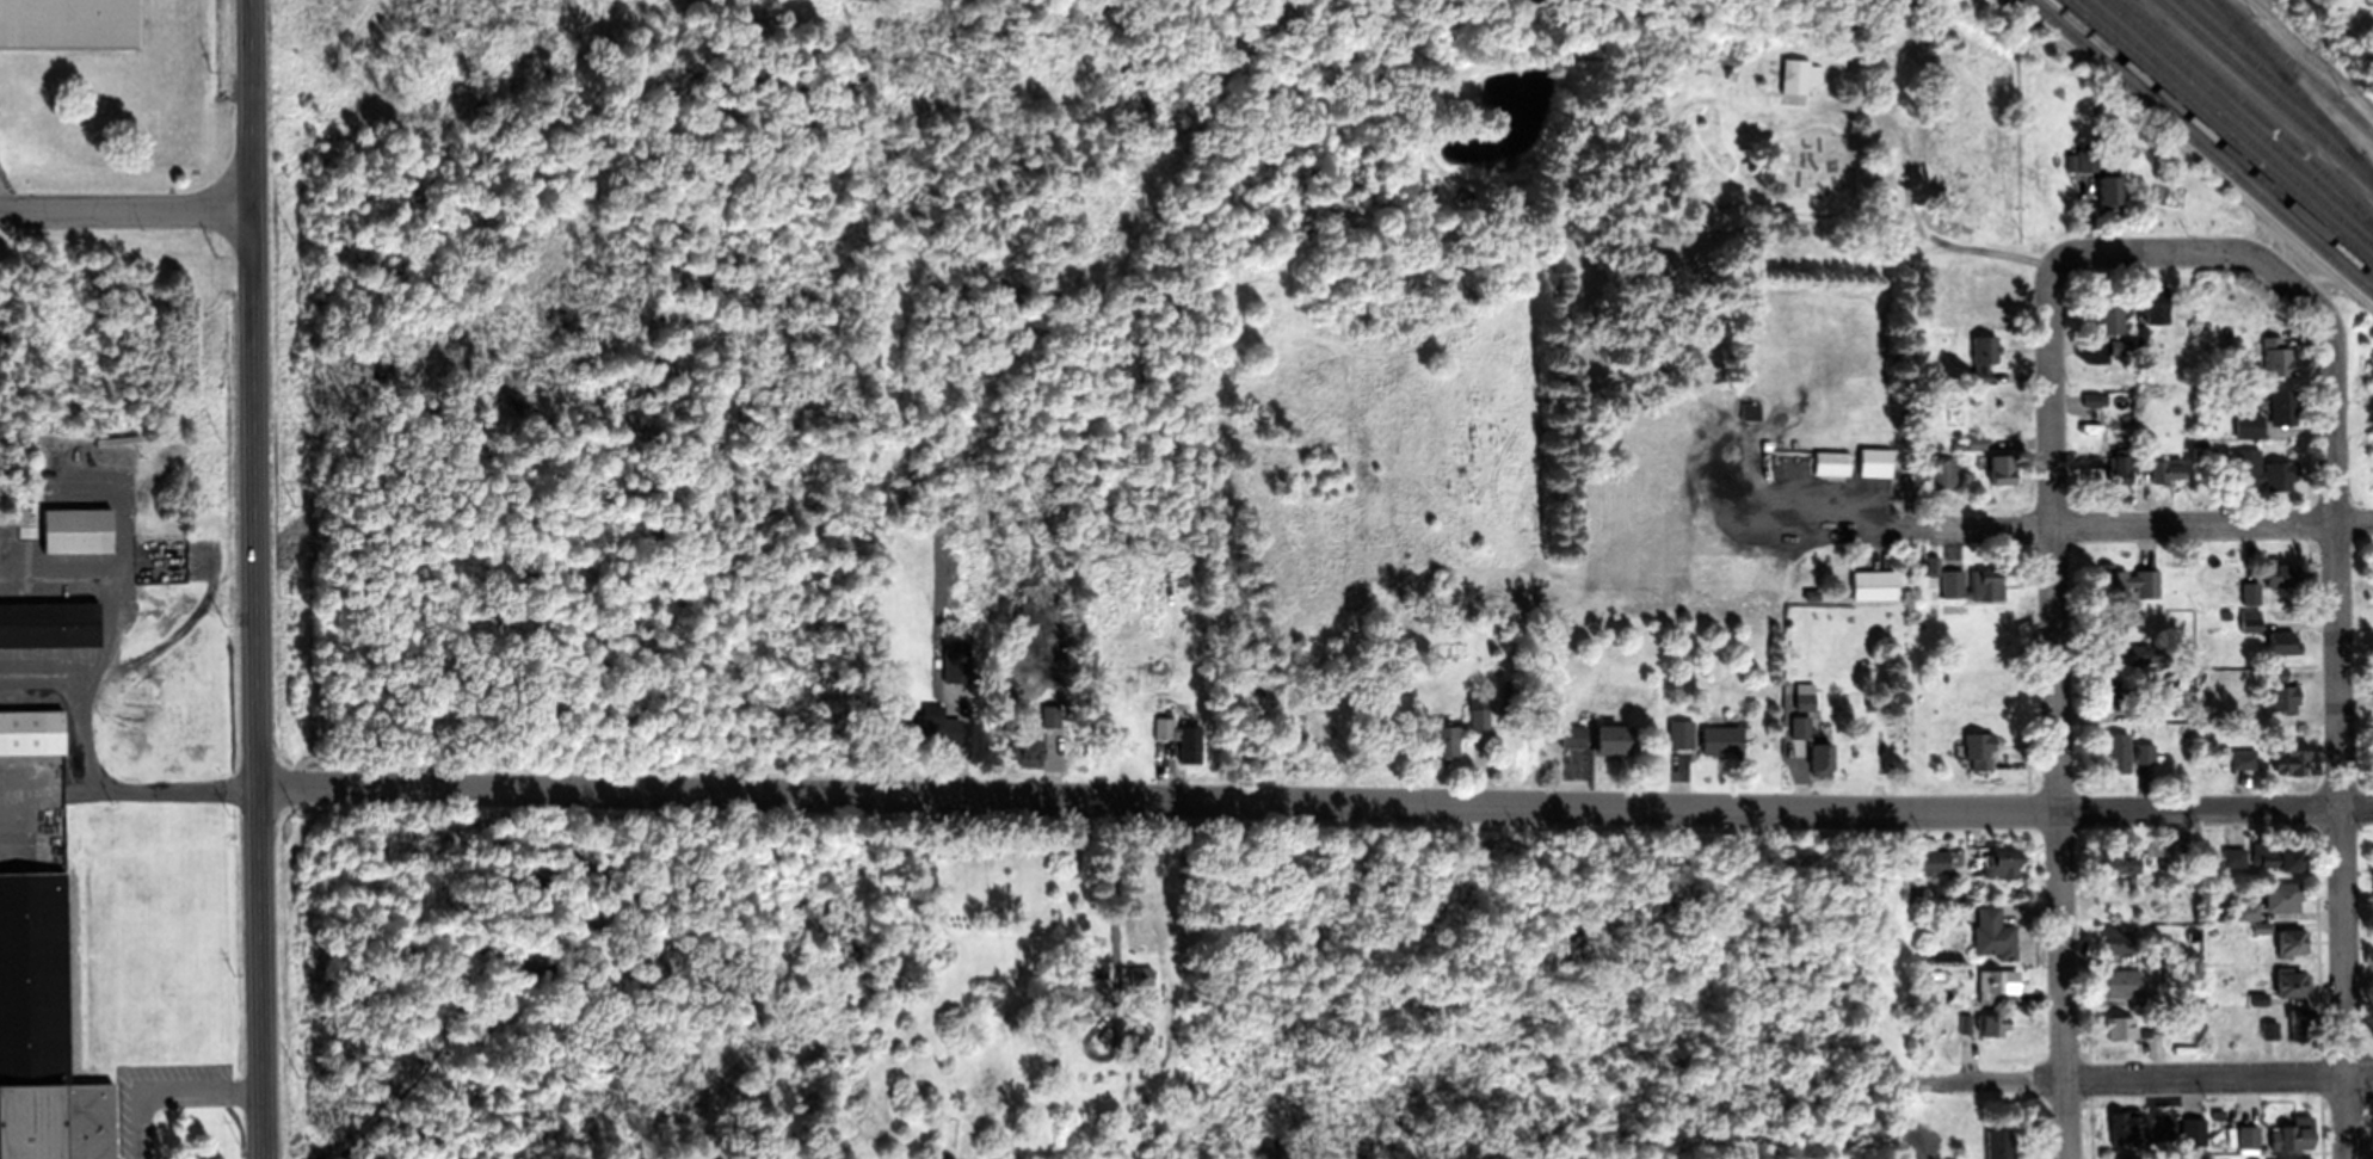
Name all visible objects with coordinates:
building: (68, 23)
railway: (2244, 37)
railway: (2297, 64)
railway: (2269, 75)
building: (1796, 76)
railway: (2294, 85)
railway: (2266, 91)
road: (2258, 99)
railway: (2250, 107)
railway: (2239, 113)
railway: (2230, 121)
railway: (2220, 129)
railway: (2209, 138)
railway: (2201, 146)
building: (2088, 161)
building: (2107, 191)
road: (121, 199)
road: (2149, 251)
building: (2155, 304)
building: (2109, 313)
building: (2140, 335)
building: (2120, 347)
building: (1981, 357)
building: (2275, 357)
building: (2092, 399)
building: (2282, 408)
building: (1748, 411)
building: (2249, 426)
building: (1974, 444)
building: (127, 456)
building: (1830, 463)
building: (1873, 463)
building: (2119, 466)
building: (1998, 470)
building: (2163, 470)
building: (1941, 471)
building: (2266, 473)
road: (2149, 525)
building: (76, 529)
building: (1931, 566)
building: (954, 567)
building: (2276, 575)
road: (253, 579)
building: (1183, 579)
building: (949, 580)
building: (2125, 581)
building: (1872, 586)
building: (1971, 586)
building: (2249, 592)
building: (2249, 619)
building: (49, 623)
building: (2108, 633)
building: (2282, 642)
building: (2143, 653)
building: (955, 667)
building: (2275, 673)
road: (2340, 688)
building: (2109, 691)
building: (2280, 697)
building: (1804, 699)
building: (1477, 709)
building: (2139, 711)
building: (1052, 715)
road: (2059, 715)
building: (1148, 717)
building: (932, 725)
building: (1799, 725)
building: (31, 730)
building: (1679, 732)
building: (1571, 733)
building: (1178, 735)
building: (1611, 738)
building: (1444, 739)
building: (1720, 739)
building: (1977, 744)
building: (1028, 747)
building: (2122, 751)
building: (2288, 757)
building: (1819, 758)
building: (2242, 758)
road: (129, 789)
road: (1315, 797)
building: (2276, 855)
building: (2109, 857)
building: (2233, 857)
building: (1933, 861)
building: (1998, 863)
building: (2282, 894)
building: (2248, 911)
building: (2261, 926)
building: (1992, 933)
building: (2115, 938)
building: (2289, 941)
building: (1142, 974)
building: (2291, 981)
building: (2121, 982)
road: (2318, 984)
building: (1993, 985)
building: (1097, 990)
building: (1195, 990)
building: (2257, 997)
building: (1138, 1004)
building: (1083, 1015)
building: (1062, 1016)
building: (1964, 1022)
building: (2300, 1023)
building: (1991, 1024)
building: (2119, 1027)
building: (2269, 1029)
building: (42, 1031)
road: (2090, 1044)
road: (2155, 1080)
road: (166, 1093)
building: (2127, 1126)
building: (2190, 1130)
building: (2295, 1133)
building: (1107, 1134)
building: (2249, 1135)
building: (1998, 1142)
building: (2120, 1157)
building: (2287, 1158)

